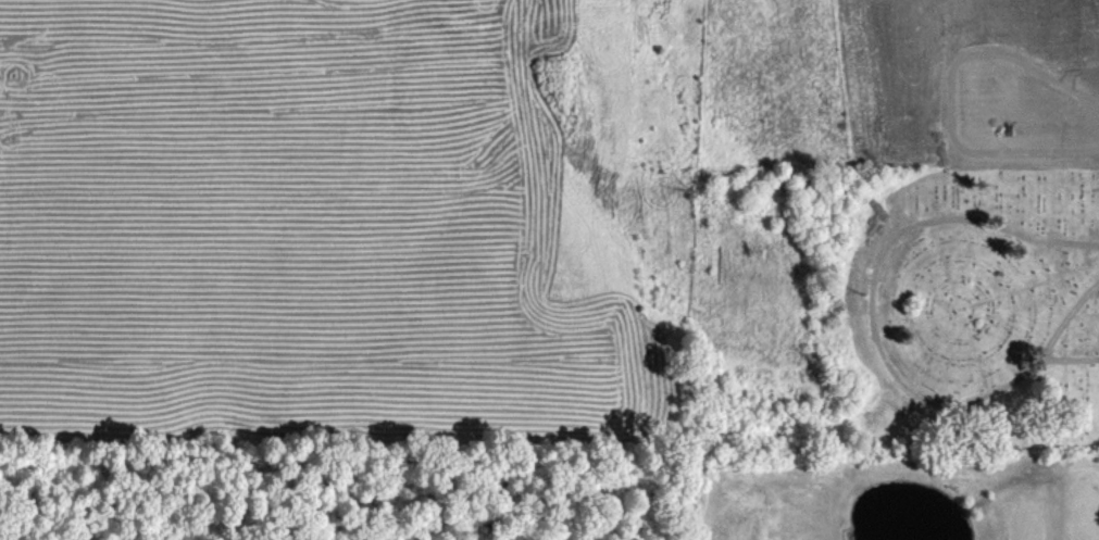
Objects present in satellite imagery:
road: (671, 45)

